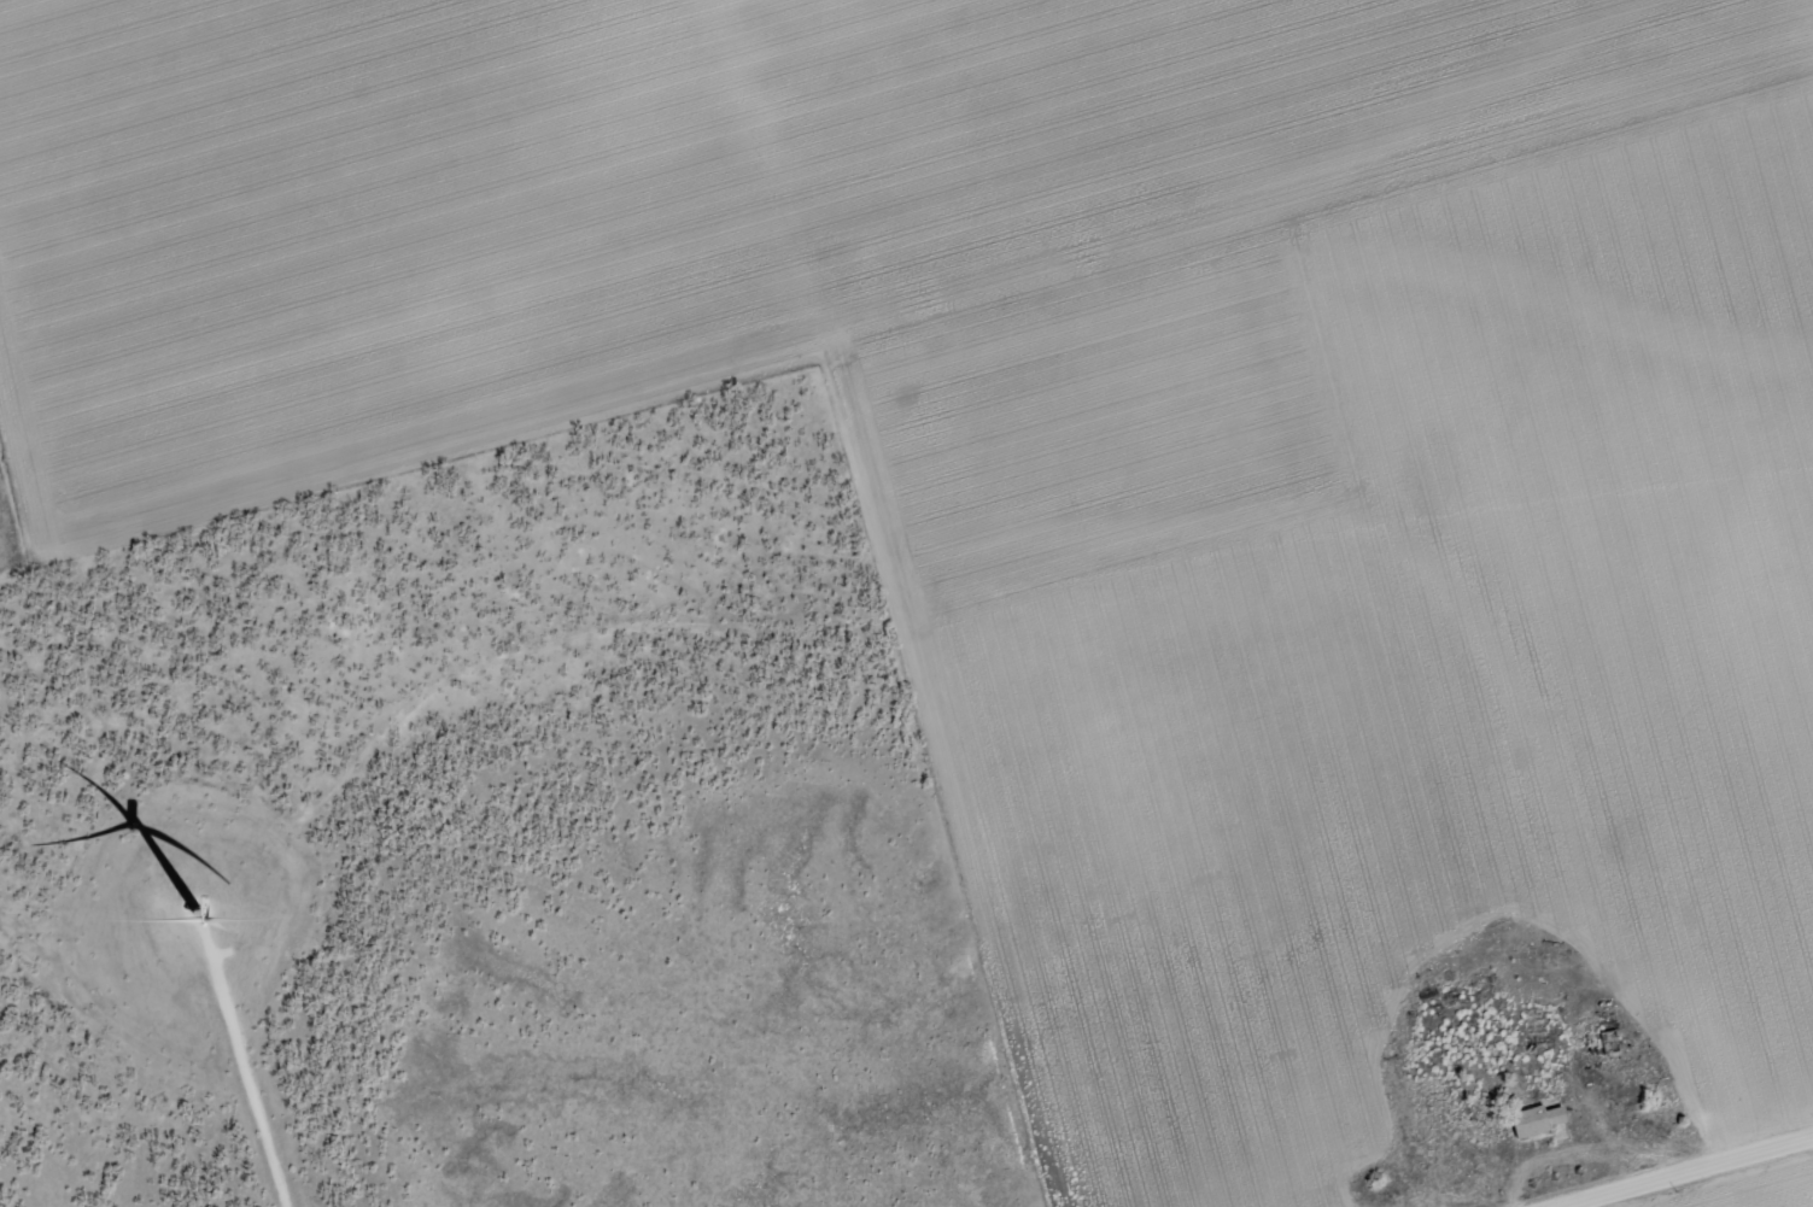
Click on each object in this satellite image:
wind turbine: (194, 910)
building: (1609, 1041)
building: (1540, 1042)
building: (1537, 1119)
road: (1679, 1170)

